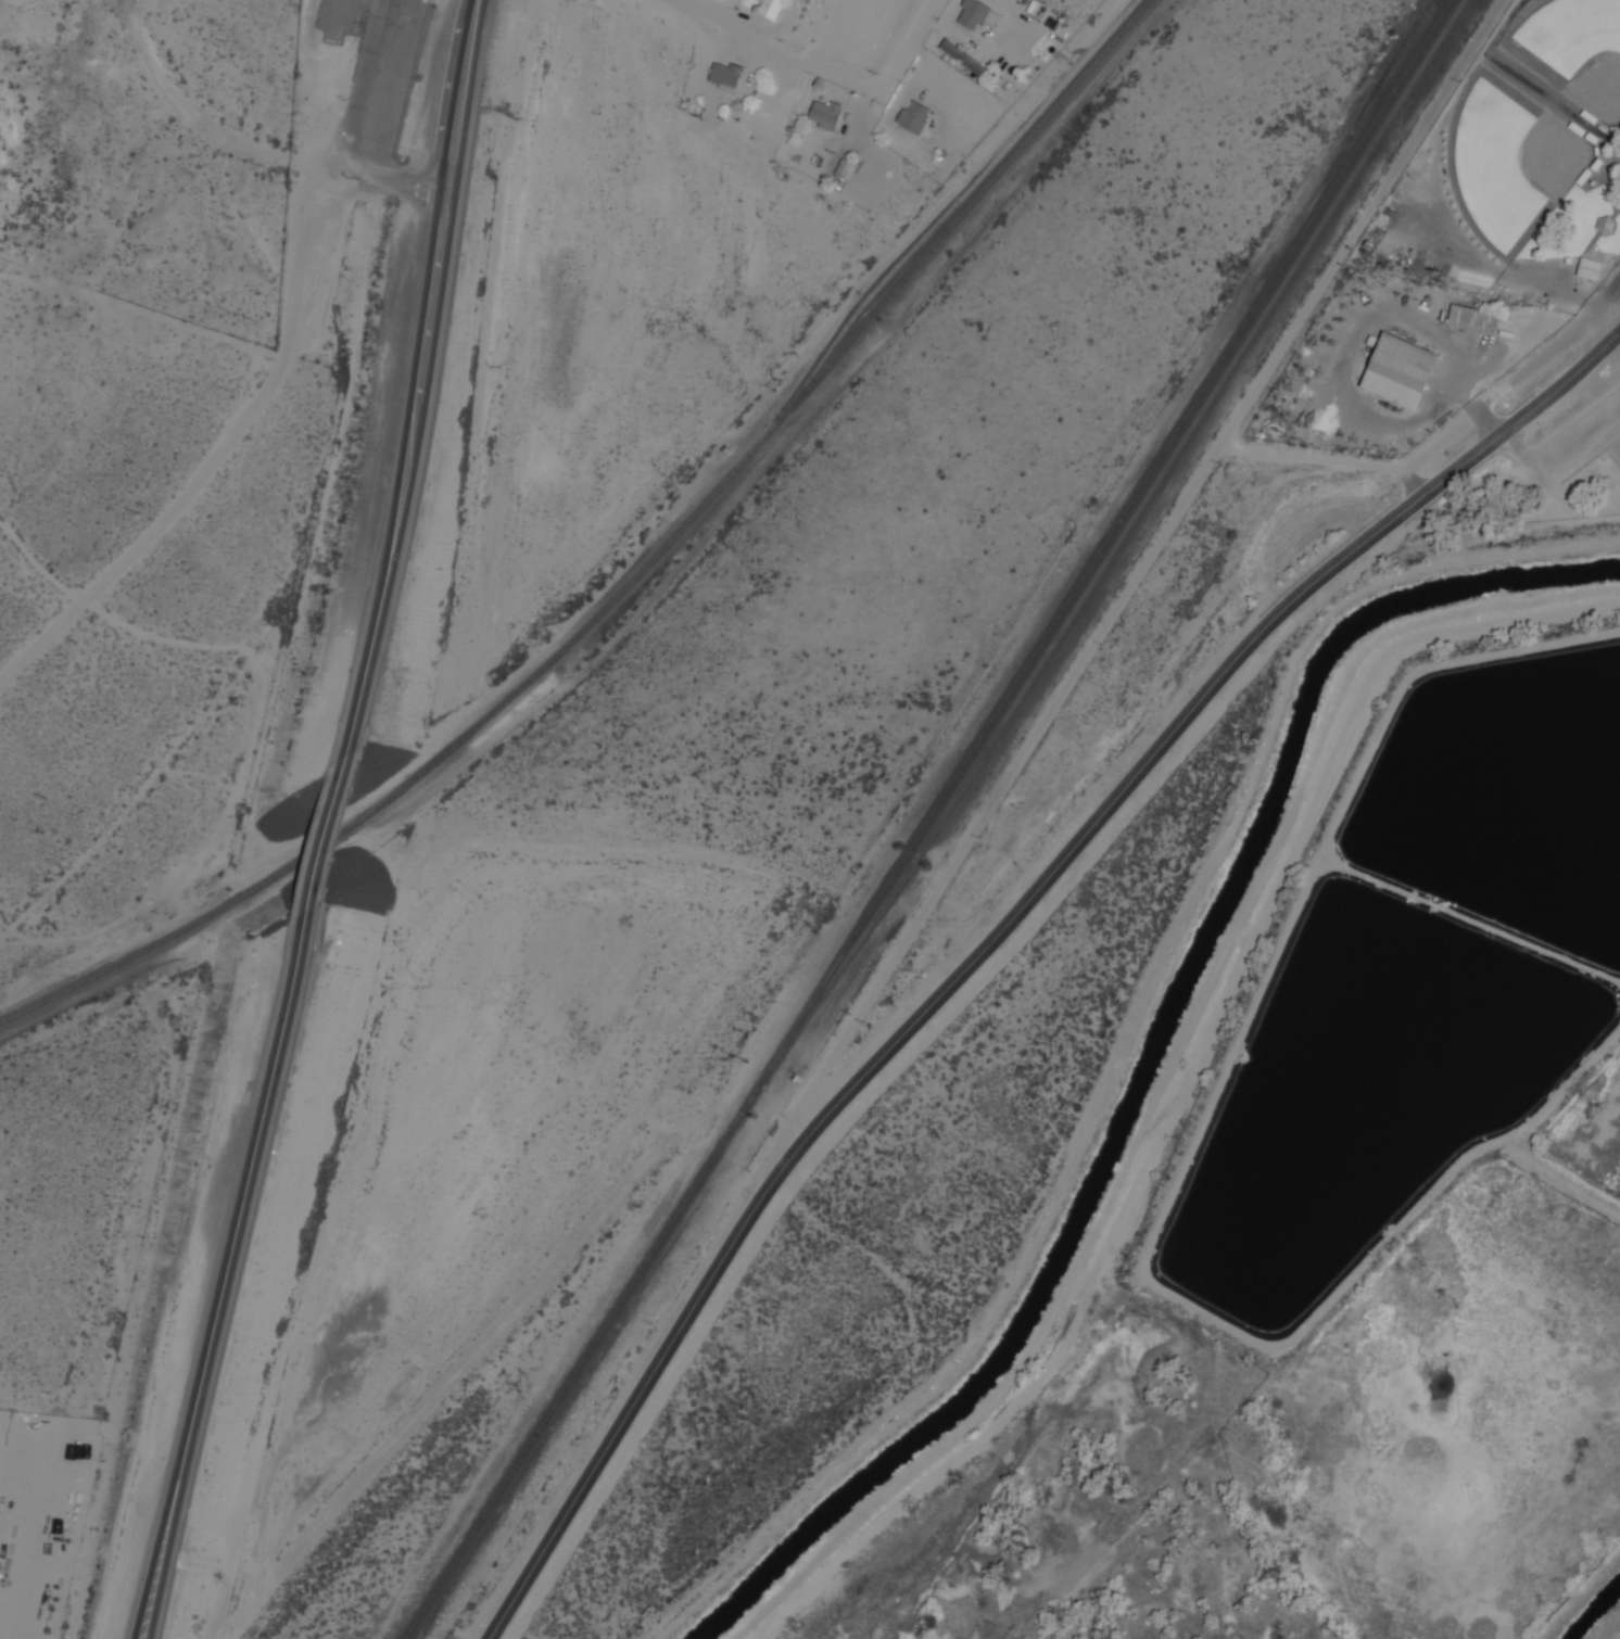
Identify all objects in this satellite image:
building: (802, 0)
building: (770, 8)
building: (973, 15)
building: (1569, 27)
park: (1041, 49)
park: (1571, 49)
building: (960, 59)
road: (825, 69)
building: (722, 76)
road: (457, 97)
road: (465, 115)
building: (823, 116)
building: (911, 118)
road: (355, 127)
park: (1510, 160)
building: (840, 170)
road: (448, 195)
railway: (949, 212)
road: (445, 213)
building: (1607, 226)
building: (1591, 267)
building: (1472, 321)
building: (1396, 371)
road: (1565, 444)
park: (1616, 454)
road: (402, 486)
railway: (1116, 544)
railway: (634, 581)
road: (1134, 582)
railway: (926, 818)
road: (320, 850)
road: (995, 933)
road: (219, 1299)

